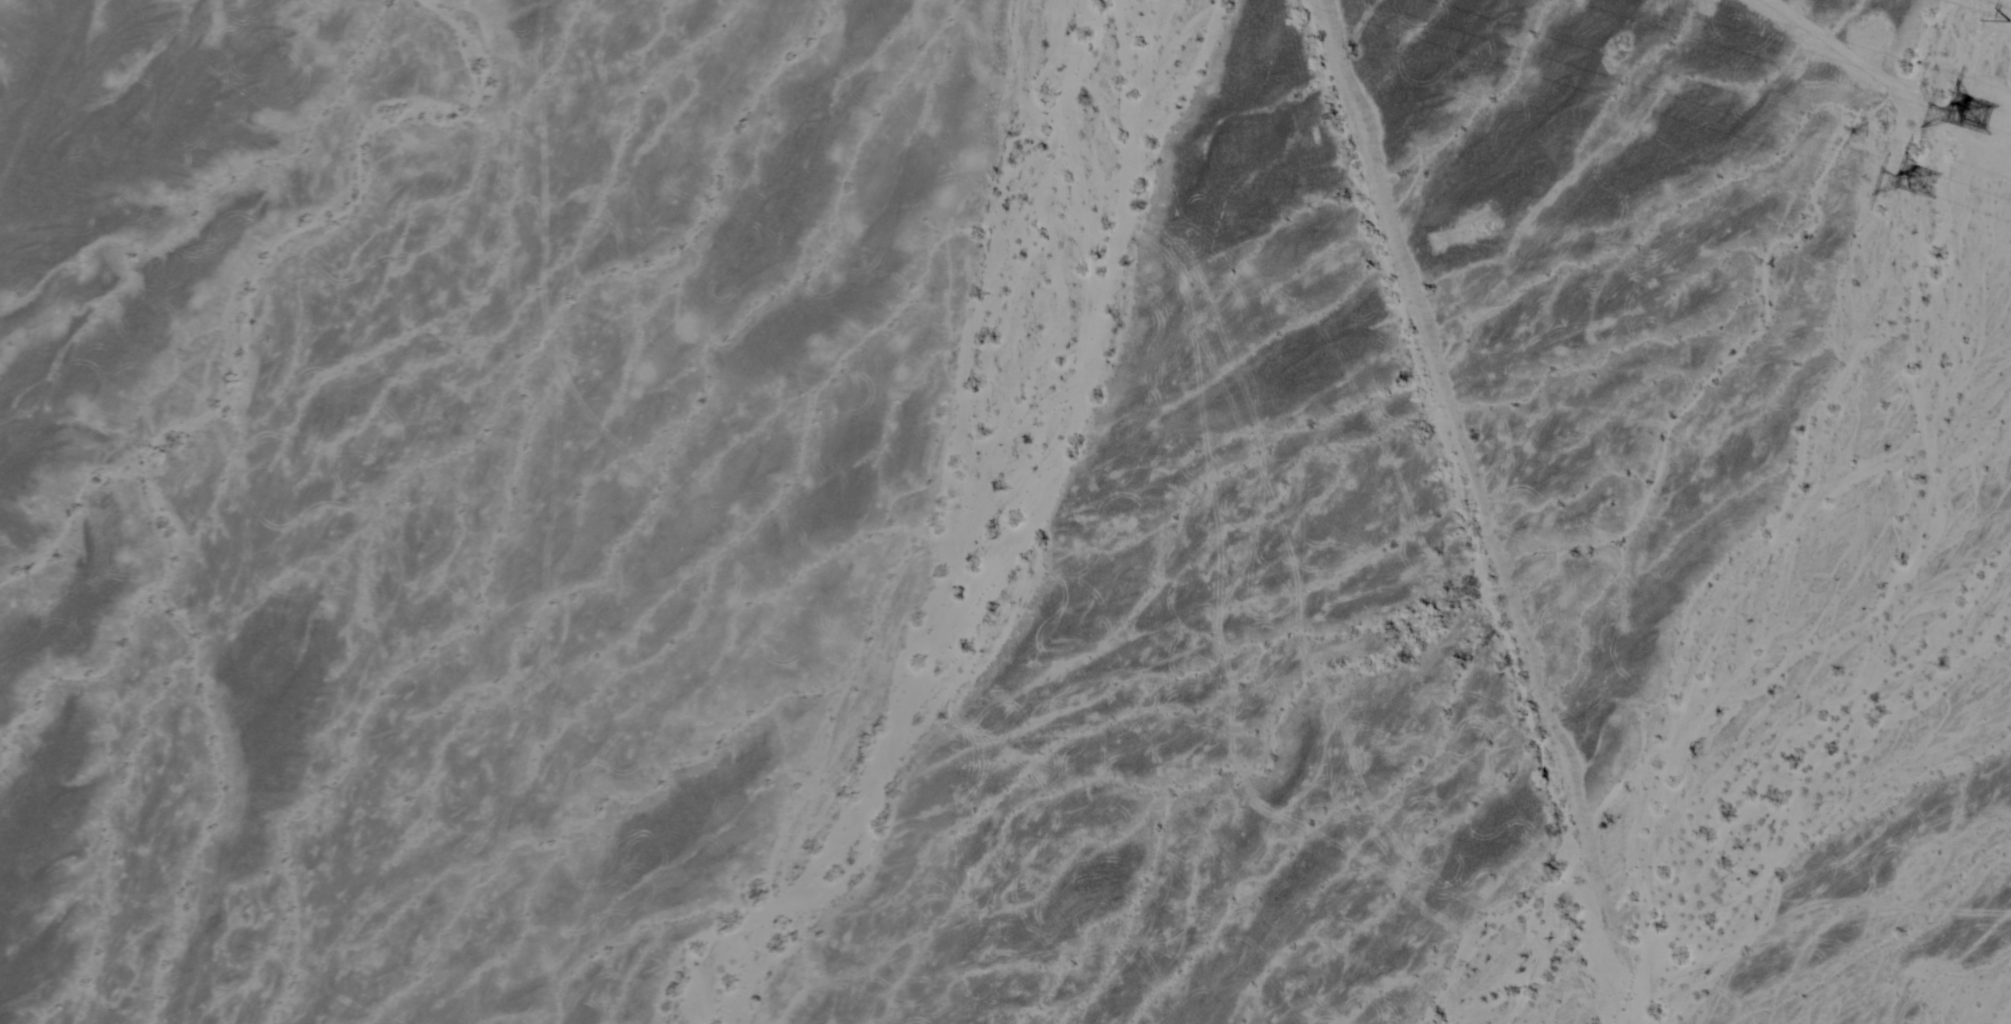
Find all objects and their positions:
power tower: (1973, 114)
power tower: (1912, 178)

